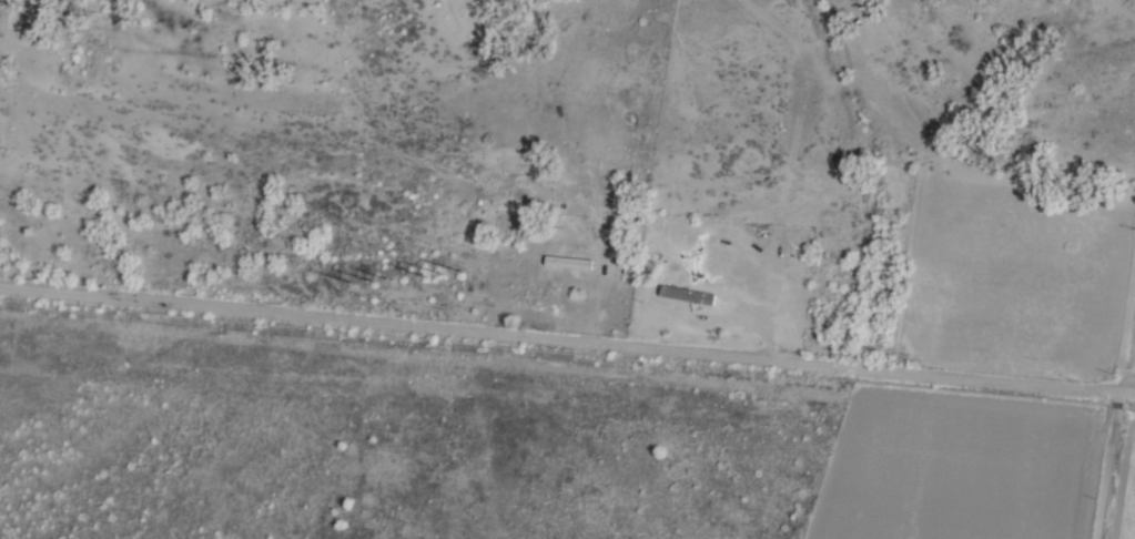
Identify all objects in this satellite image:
building: (569, 263)
power tower: (434, 271)
power tower: (369, 283)
building: (688, 295)
road: (567, 343)
road: (1107, 466)

